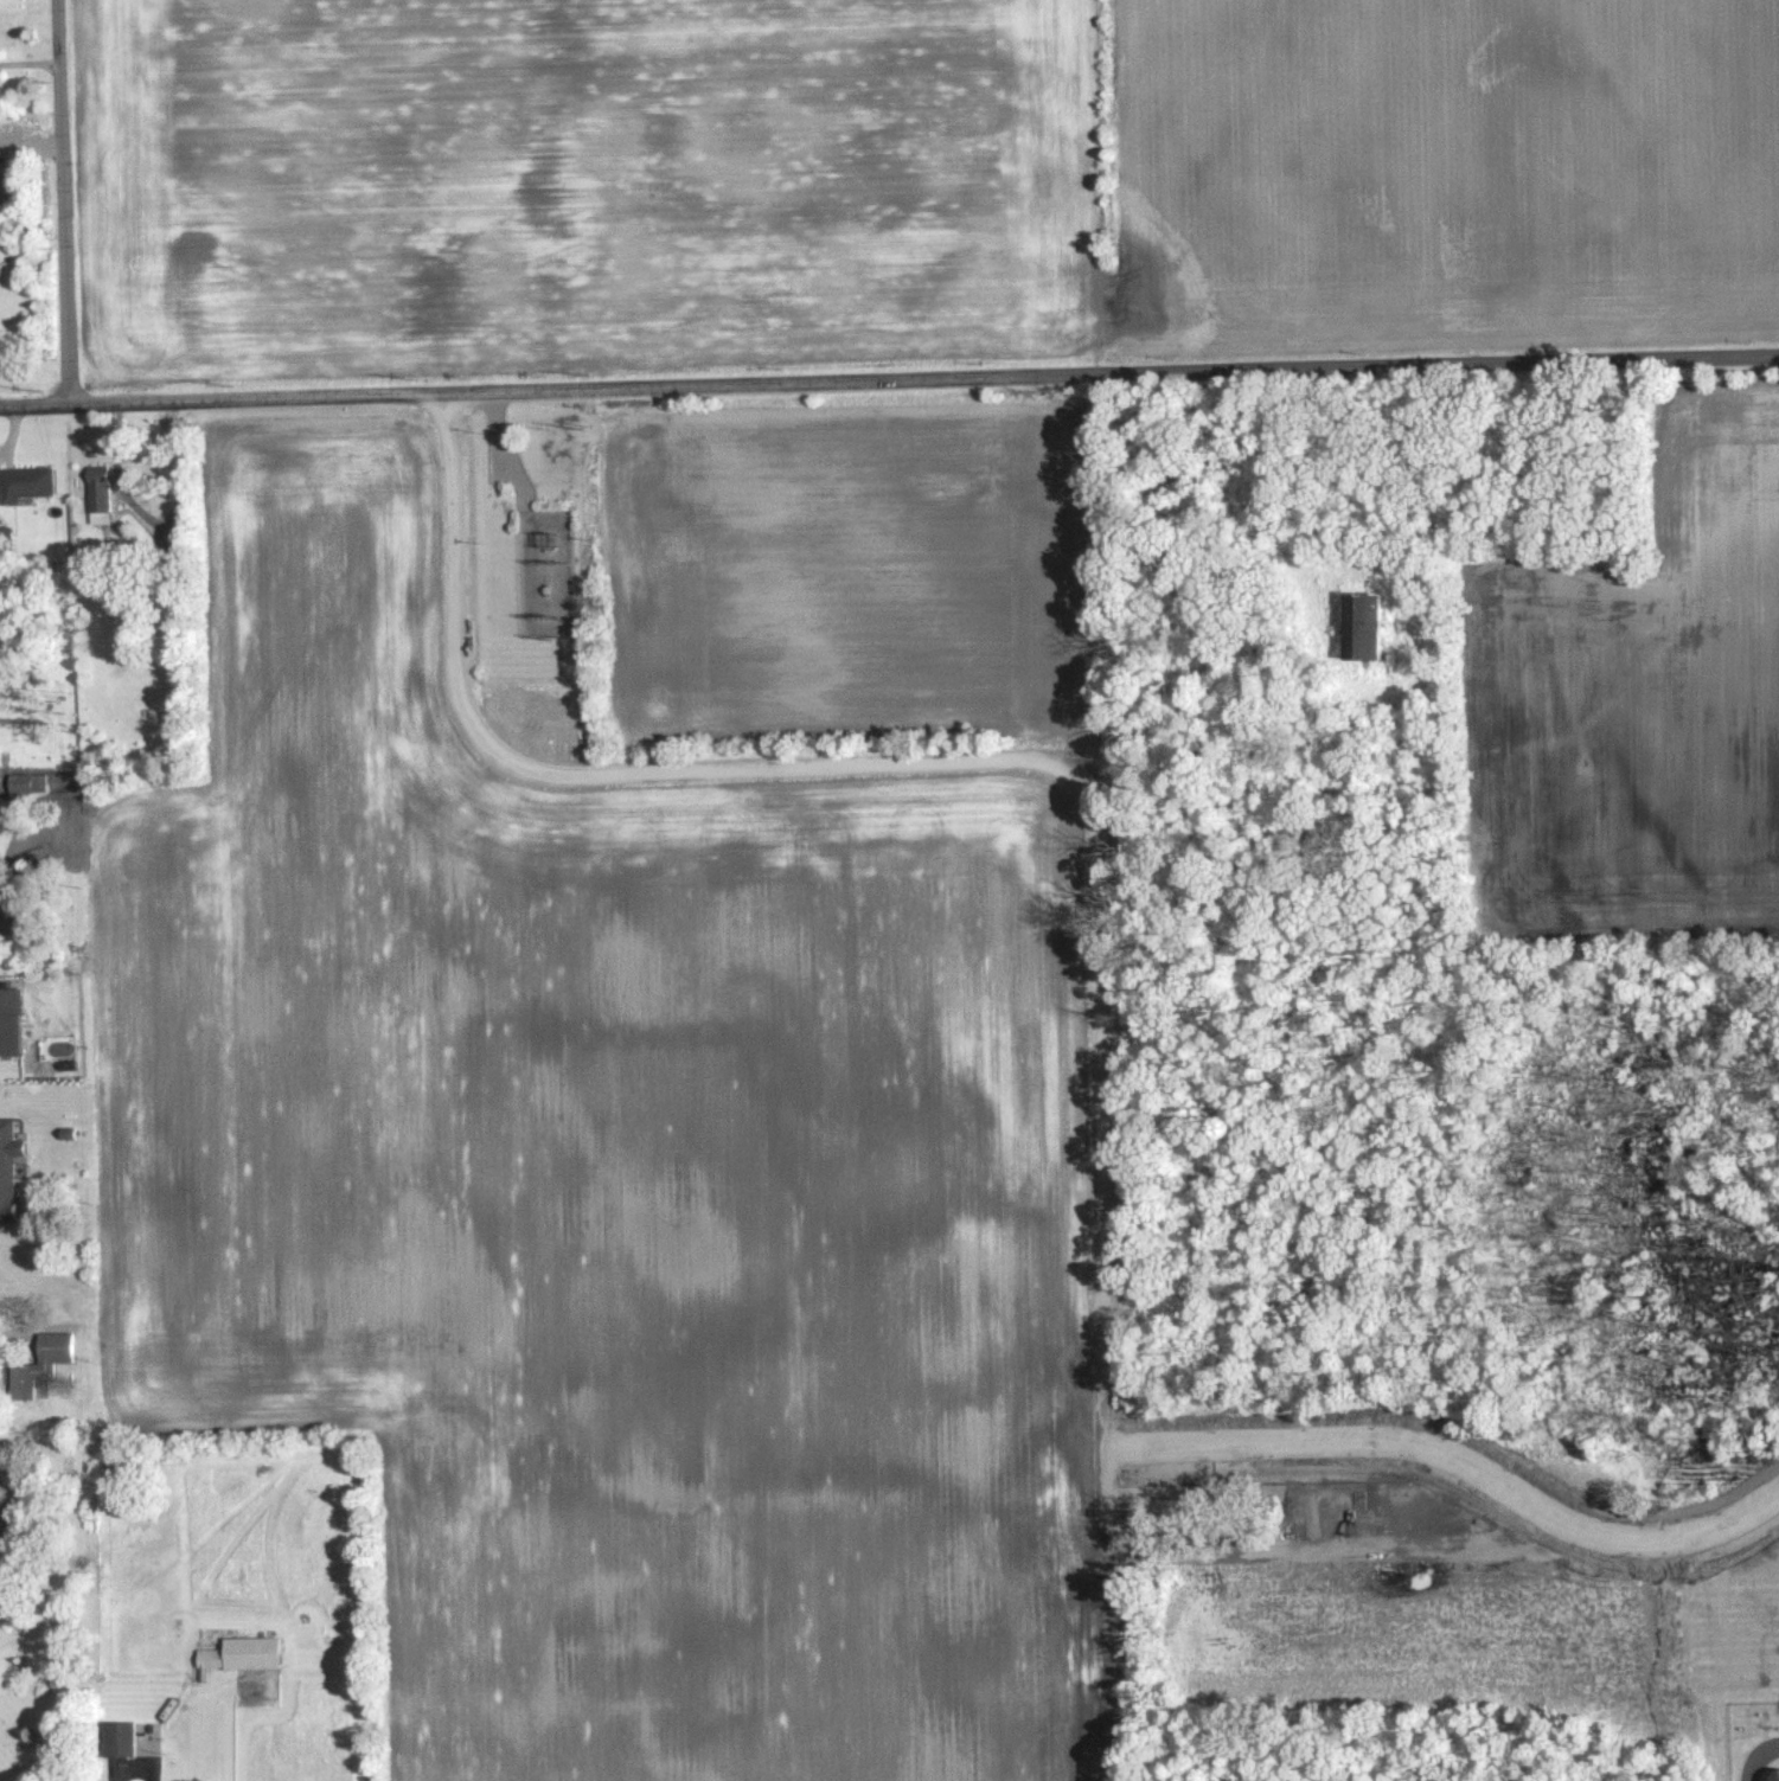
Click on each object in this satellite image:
road: (30, 60)
road: (64, 203)
road: (889, 379)
road: (506, 450)
building: (28, 483)
building: (102, 489)
power substation: (544, 571)
building: (1364, 623)
building: (0, 756)
building: (31, 783)
building: (15, 1021)
building: (11, 1167)
road: (5, 1338)
building: (46, 1364)
building: (21, 1519)
building: (4, 1523)
building: (247, 1654)
building: (126, 1738)
road: (1755, 1757)
building: (1770, 1774)

